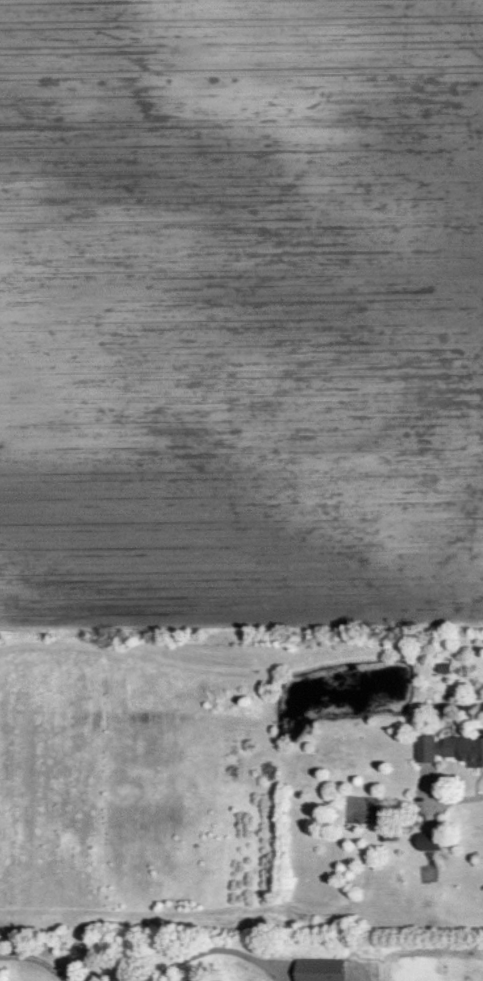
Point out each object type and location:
building: (450, 749)
road: (456, 798)
building: (430, 840)
road: (221, 951)
road: (35, 961)
building: (320, 970)

